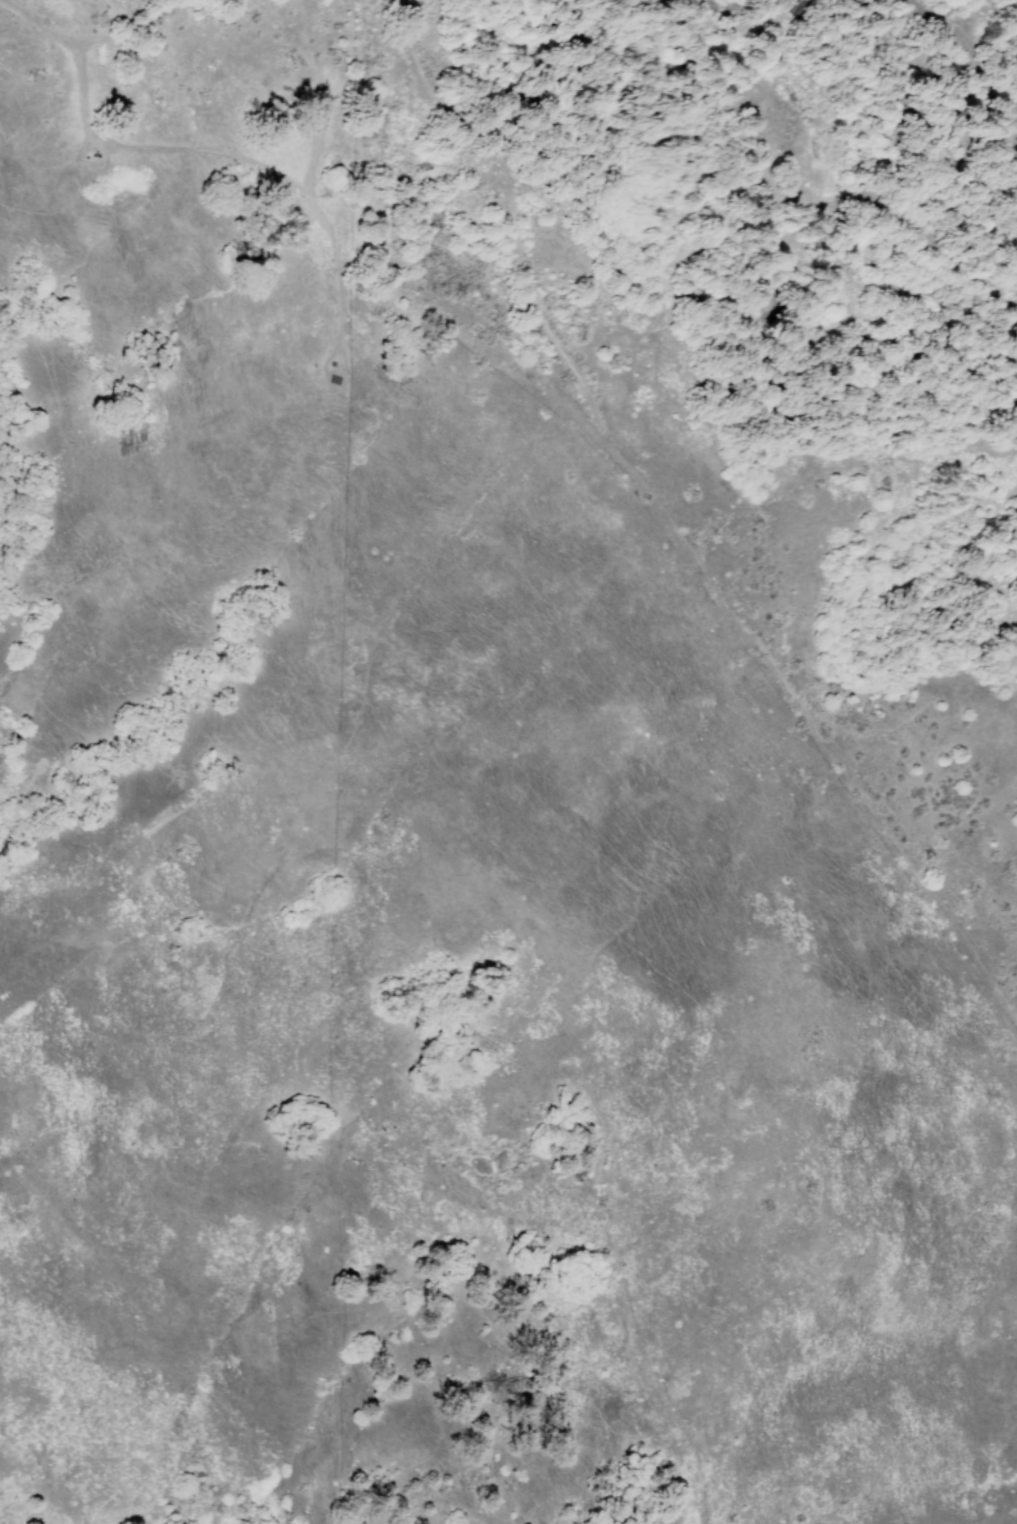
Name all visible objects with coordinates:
road: (864, 157)
road: (872, 806)

